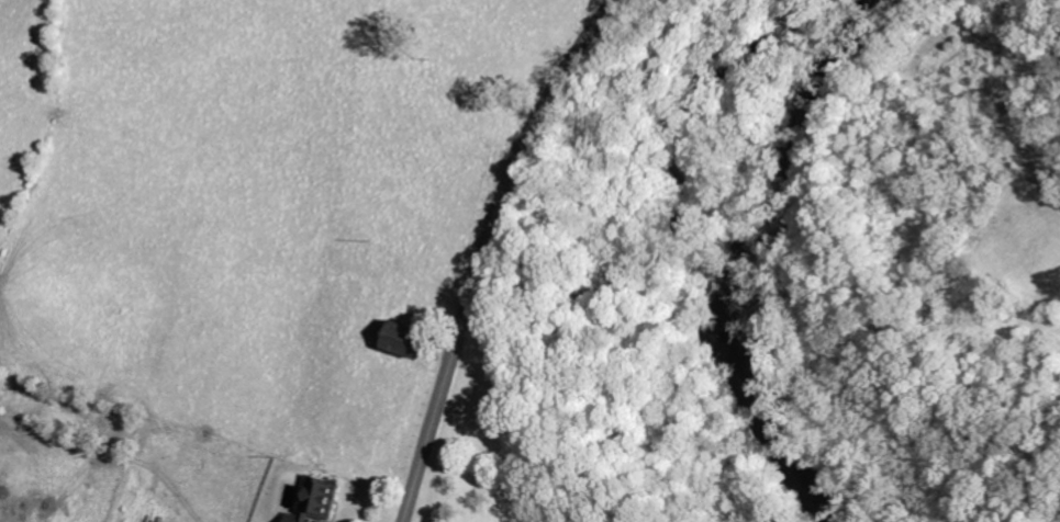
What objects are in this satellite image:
road: (486, 249)
river: (762, 260)
building: (408, 340)
building: (320, 501)

